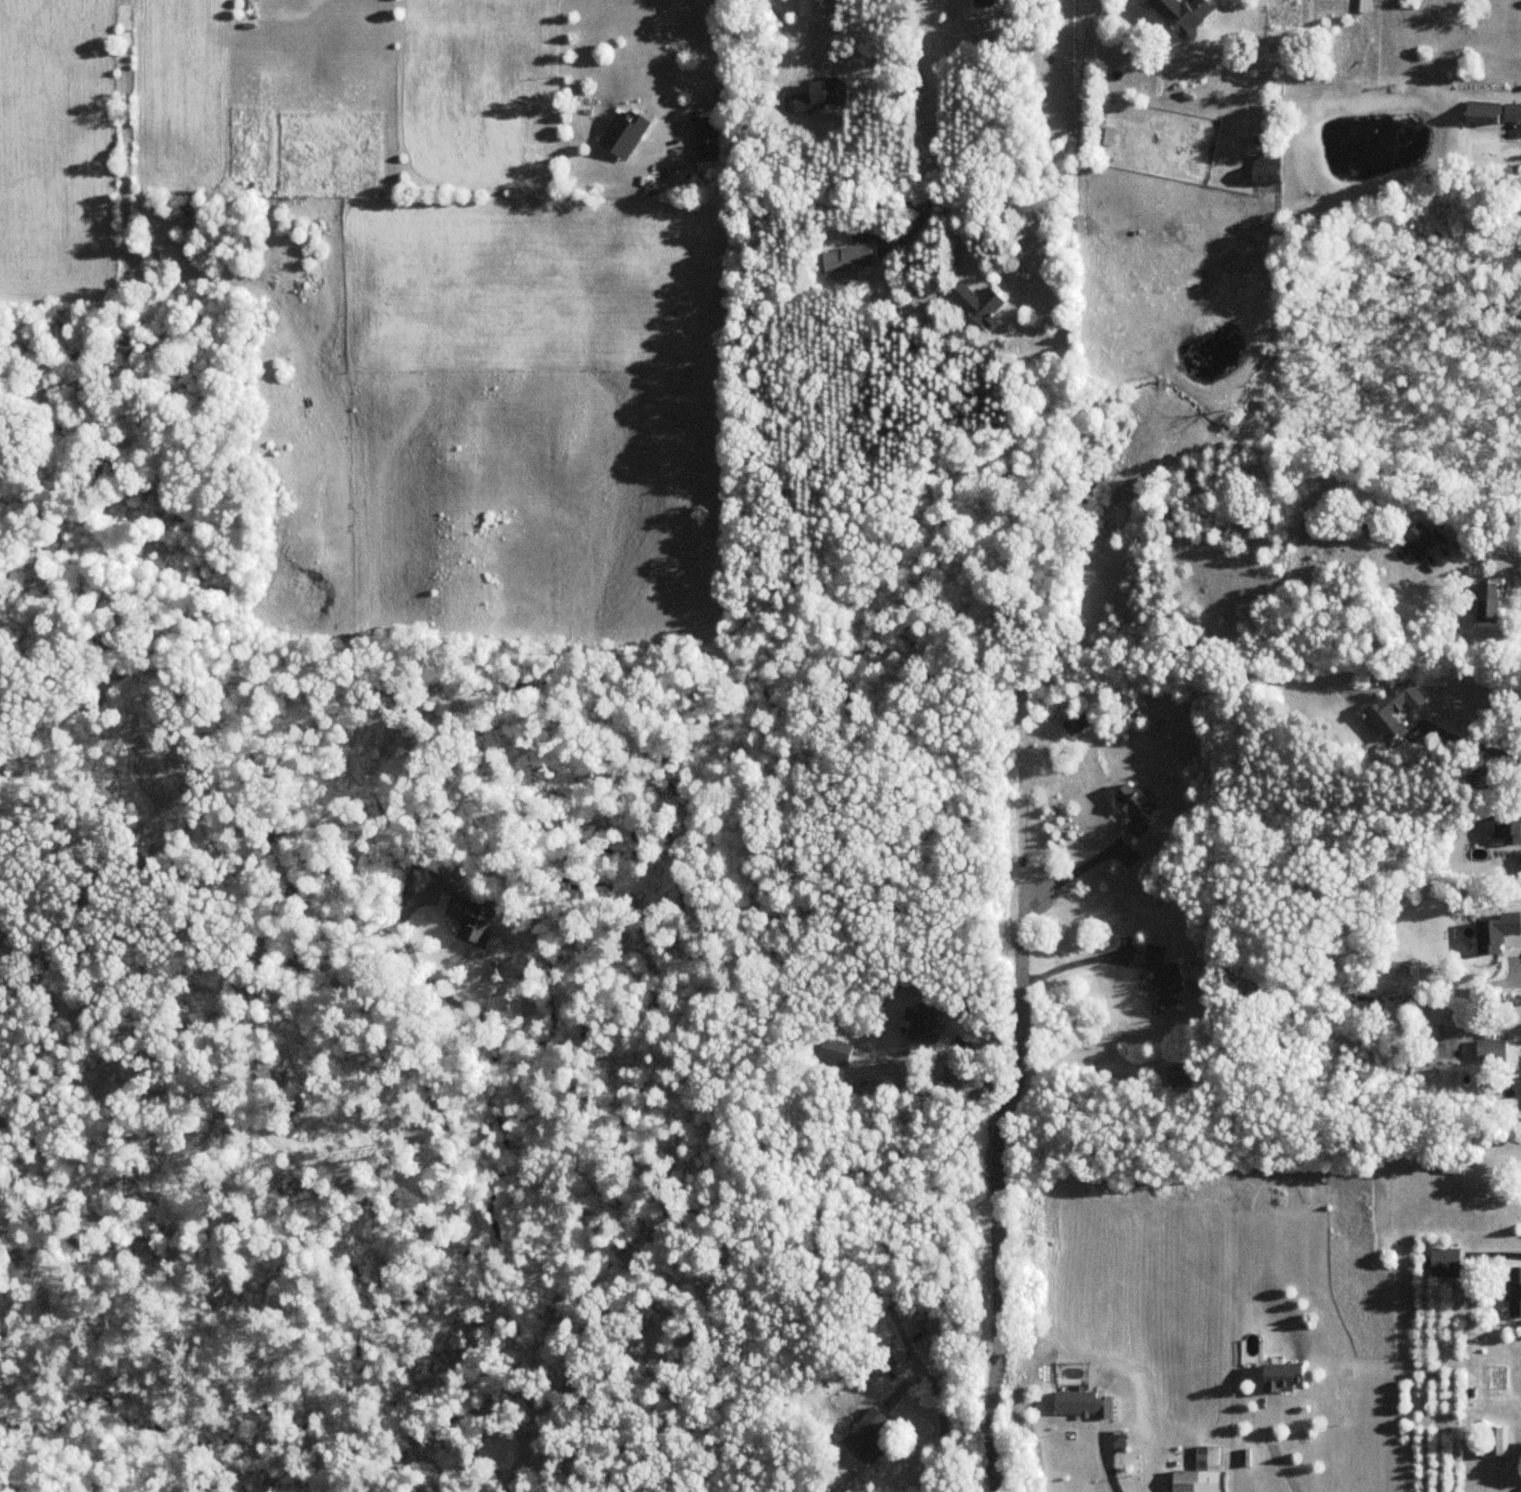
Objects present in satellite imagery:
building: (983, 2)
building: (1181, 14)
road: (849, 19)
road: (710, 69)
building: (813, 95)
road: (935, 104)
building: (1493, 112)
building: (622, 133)
building: (706, 144)
building: (1265, 169)
building: (846, 258)
building: (977, 303)
building: (1421, 539)
road: (1488, 551)
building: (1486, 600)
building: (1392, 708)
building: (1074, 722)
road: (1484, 747)
building: (1481, 777)
building: (1132, 806)
road: (1023, 810)
building: (1511, 829)
building: (1518, 864)
road: (1080, 867)
building: (471, 915)
building: (1513, 946)
road: (1072, 963)
building: (1162, 974)
building: (927, 1019)
building: (1490, 1049)
building: (834, 1051)
road: (985, 1072)
building: (1178, 1073)
road: (645, 1143)
road: (996, 1189)
building: (1444, 1262)
building: (1514, 1291)
building: (887, 1299)
building: (1280, 1377)
road: (941, 1412)
building: (866, 1438)
building: (1499, 1445)
road: (1274, 1447)
road: (1106, 1461)
building: (1198, 1473)

